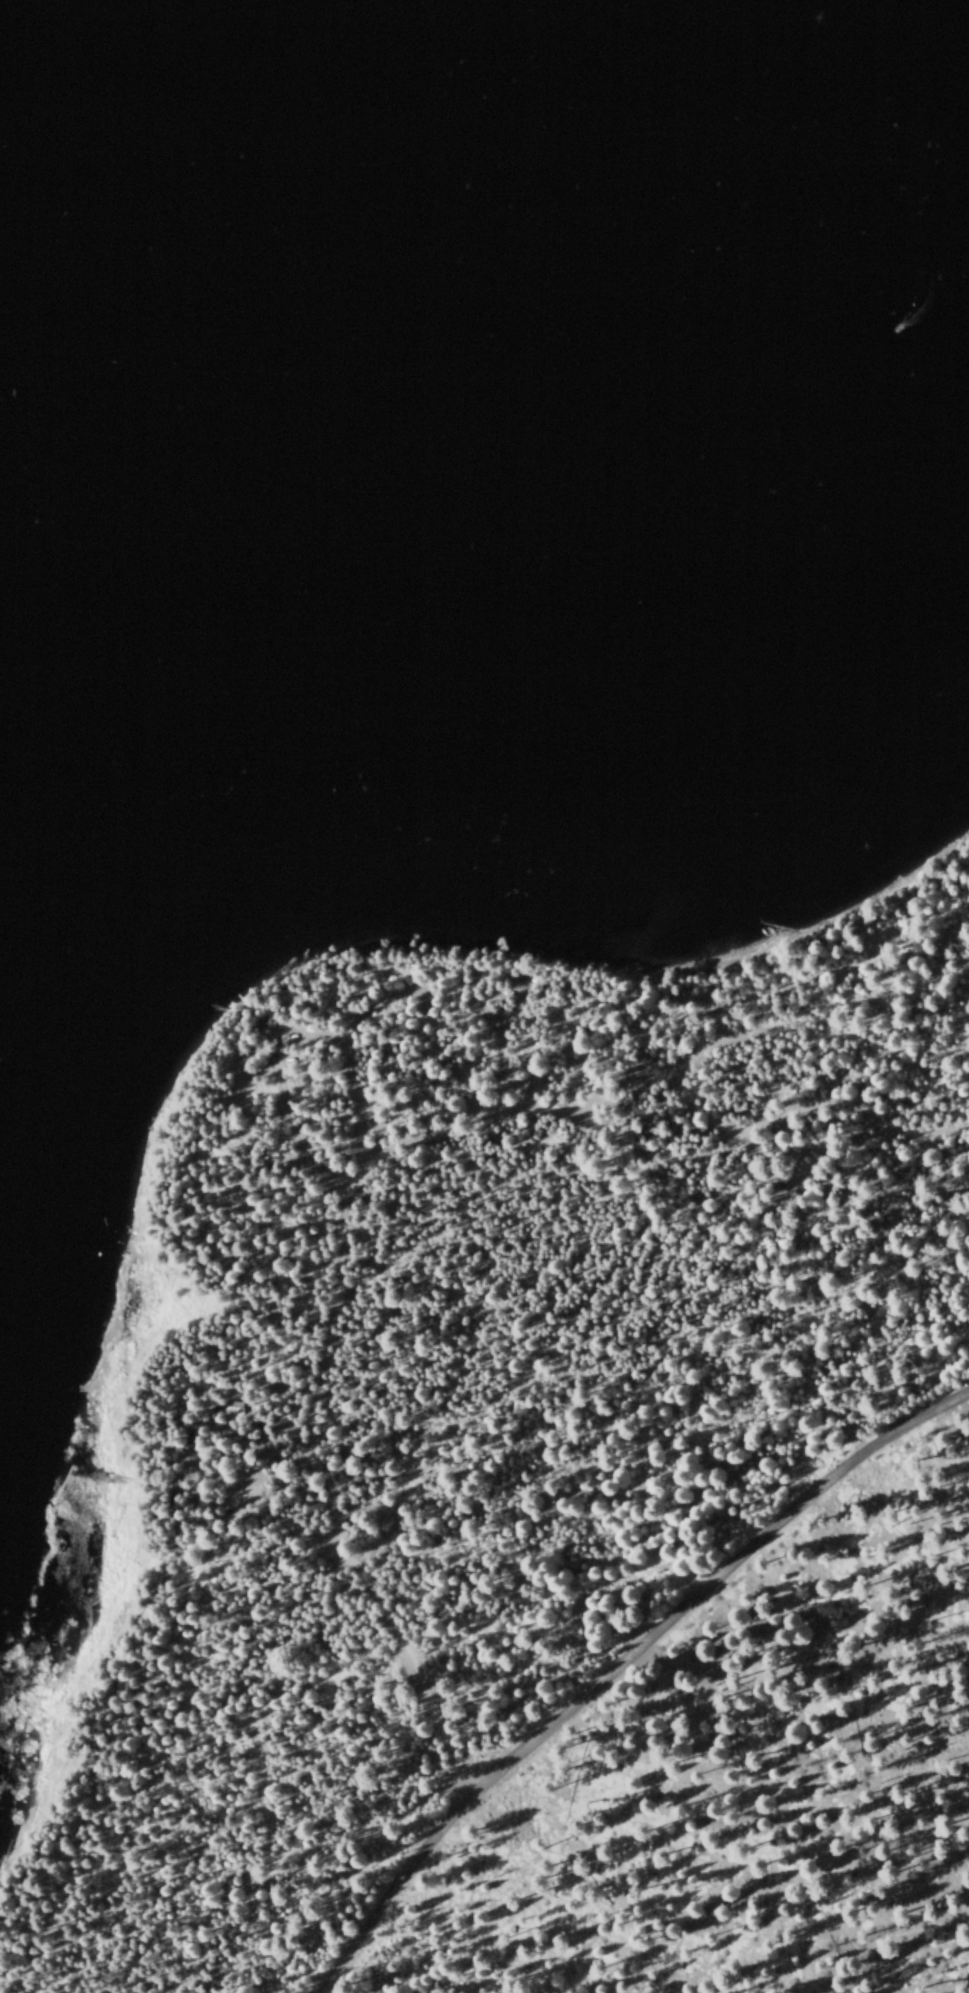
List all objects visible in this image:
road: (504, 1030)
road: (707, 1049)
road: (339, 1067)
road: (357, 1180)
road: (252, 1498)
road: (616, 1661)

